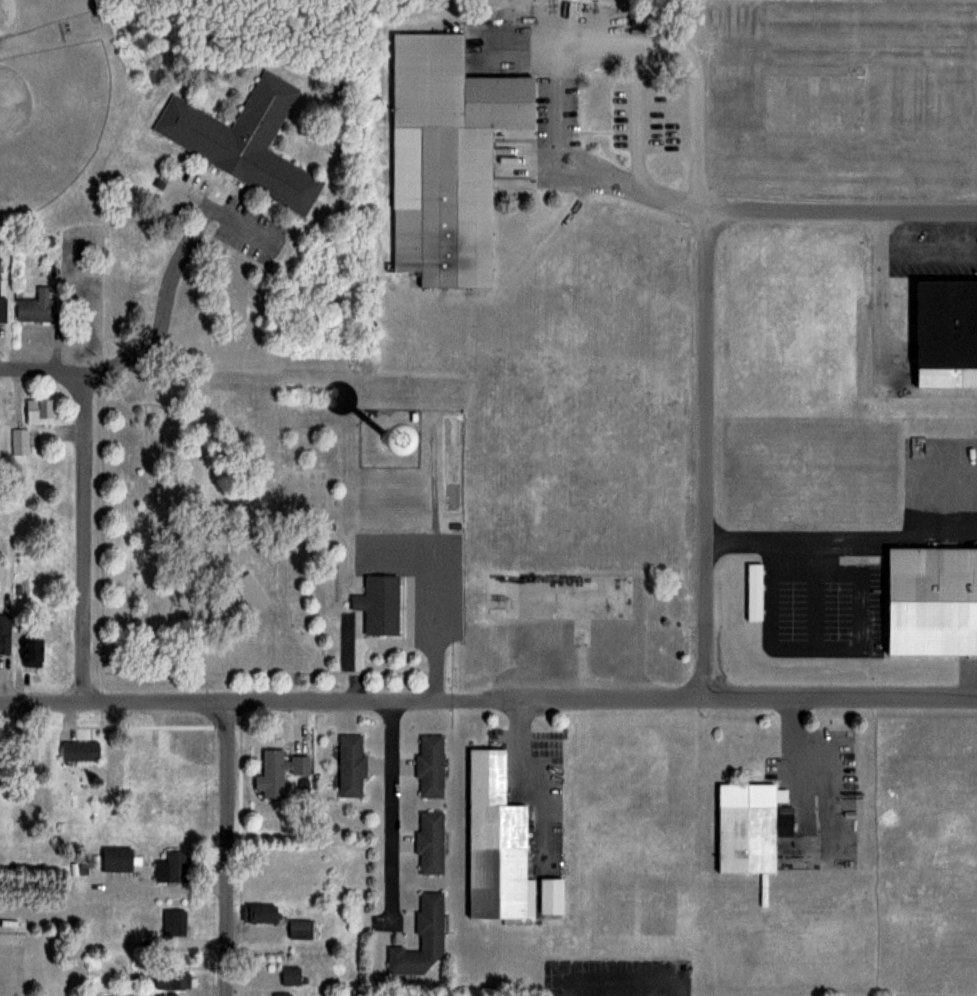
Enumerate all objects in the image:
road: (556, 46)
building: (242, 140)
building: (445, 158)
road: (849, 212)
road: (922, 256)
road: (868, 280)
building: (35, 306)
building: (2, 309)
road: (156, 310)
road: (39, 371)
building: (38, 411)
water tower: (391, 440)
building: (20, 441)
building: (373, 444)
road: (707, 451)
road: (841, 532)
road: (85, 543)
building: (250, 590)
building: (754, 591)
building: (931, 601)
building: (567, 603)
building: (378, 605)
road: (432, 627)
building: (5, 633)
road: (367, 640)
building: (32, 647)
road: (359, 699)
road: (845, 701)
building: (26, 749)
building: (80, 750)
building: (137, 760)
building: (350, 766)
building: (429, 766)
building: (277, 771)
road: (388, 801)
building: (746, 827)
building: (429, 843)
building: (495, 844)
road: (228, 850)
building: (117, 859)
building: (176, 866)
building: (550, 896)
building: (260, 914)
building: (174, 922)
building: (301, 929)
building: (421, 939)
building: (289, 975)
building: (173, 979)
building: (281, 994)

